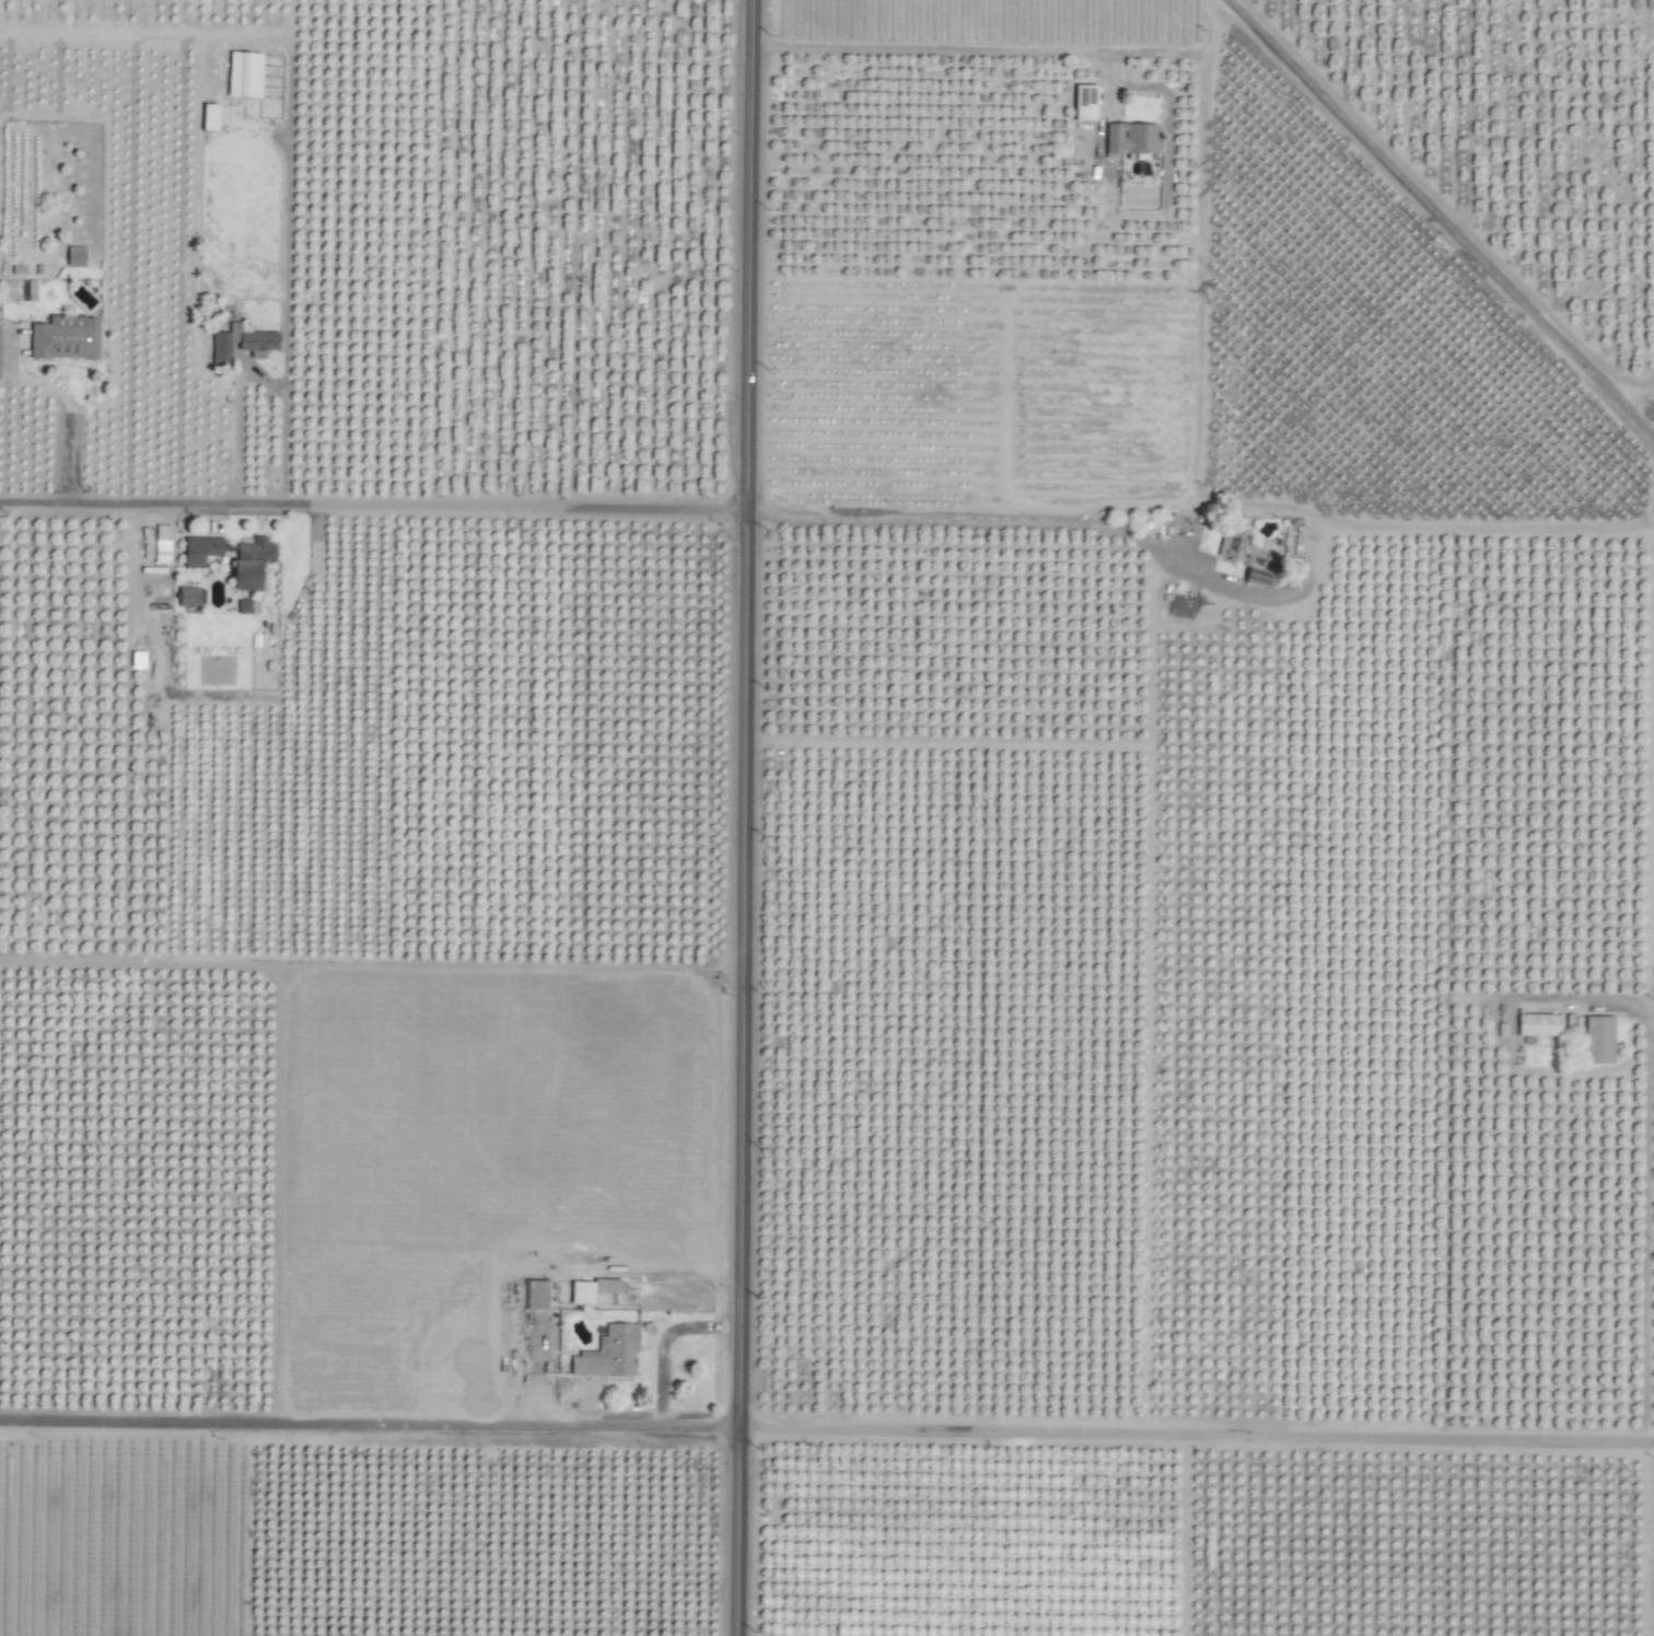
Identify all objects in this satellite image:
road: (953, 51)
building: (246, 73)
building: (1086, 102)
building: (211, 117)
building: (1132, 138)
railway: (1441, 220)
building: (77, 256)
building: (67, 337)
building: (243, 343)
road: (237, 448)
road: (151, 509)
road: (750, 521)
building: (202, 550)
building: (253, 562)
building: (193, 595)
building: (245, 606)
road: (741, 817)
crop: (827, 817)
building: (1540, 1025)
building: (1600, 1040)
road: (1646, 1233)
road: (537, 1273)
building: (594, 1290)
building: (538, 1295)
building: (610, 1354)
road: (827, 1435)

